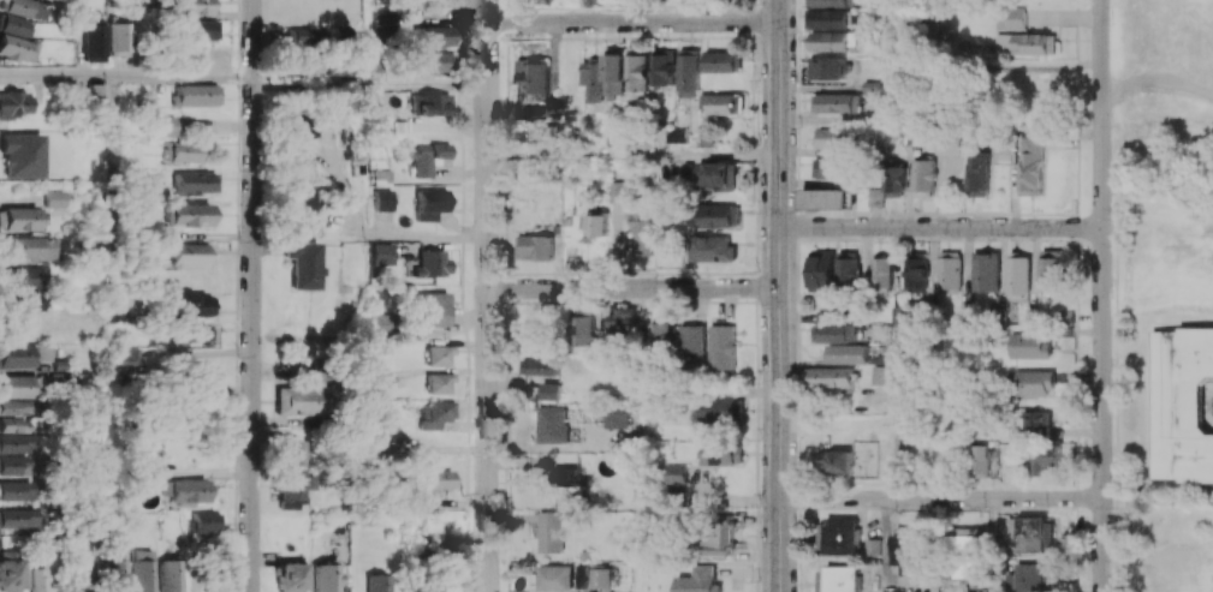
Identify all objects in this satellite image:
building: (590, 2)
building: (832, 2)
building: (200, 6)
building: (24, 8)
building: (830, 18)
building: (1009, 18)
road: (632, 22)
building: (14, 25)
building: (385, 26)
building: (200, 29)
building: (304, 35)
building: (430, 36)
building: (118, 38)
building: (839, 41)
road: (368, 42)
building: (94, 43)
building: (1023, 43)
building: (18, 48)
building: (433, 61)
building: (725, 61)
building: (304, 62)
building: (665, 66)
building: (833, 67)
building: (616, 71)
building: (640, 71)
building: (690, 72)
building: (536, 73)
road: (126, 76)
building: (594, 79)
road: (290, 85)
road: (346, 85)
road: (427, 85)
building: (197, 95)
building: (96, 101)
building: (838, 102)
building: (724, 103)
building: (13, 104)
building: (430, 104)
building: (167, 125)
building: (304, 126)
building: (543, 132)
building: (678, 133)
building: (708, 137)
building: (834, 138)
road: (778, 144)
building: (946, 145)
building: (184, 151)
building: (20, 155)
road: (632, 156)
building: (427, 159)
building: (1030, 166)
building: (828, 167)
building: (976, 174)
building: (719, 175)
building: (380, 177)
building: (921, 178)
building: (893, 181)
building: (196, 183)
road: (114, 187)
building: (616, 190)
building: (54, 198)
building: (825, 198)
building: (383, 199)
building: (430, 203)
building: (301, 205)
building: (191, 214)
building: (723, 215)
building: (18, 217)
building: (640, 223)
building: (594, 225)
road: (939, 228)
road: (382, 233)
building: (26, 247)
building: (535, 247)
building: (712, 249)
building: (191, 253)
building: (382, 253)
building: (432, 263)
building: (303, 264)
building: (1051, 265)
building: (848, 269)
building: (916, 269)
building: (823, 270)
building: (949, 270)
building: (986, 271)
building: (882, 274)
building: (1018, 275)
building: (23, 277)
road: (632, 288)
road: (254, 295)
road: (487, 295)
road: (1101, 295)
building: (24, 301)
building: (191, 305)
building: (434, 307)
building: (115, 312)
building: (827, 316)
building: (624, 321)
building: (385, 323)
building: (587, 329)
building: (191, 333)
building: (834, 333)
building: (662, 335)
building: (541, 342)
building: (694, 346)
building: (723, 346)
building: (1030, 346)
building: (43, 352)
building: (848, 353)
building: (14, 355)
building: (440, 355)
building: (127, 358)
building: (540, 366)
building: (200, 375)
building: (881, 375)
building: (380, 377)
building: (830, 377)
building: (1033, 382)
building: (440, 383)
building: (18, 385)
building: (549, 391)
building: (296, 401)
building: (1182, 405)
building: (13, 407)
building: (436, 413)
building: (613, 418)
building: (381, 419)
road: (898, 420)
building: (1037, 420)
building: (13, 424)
building: (552, 424)
road: (778, 439)
building: (14, 443)
building: (292, 452)
building: (721, 453)
building: (1047, 458)
building: (981, 460)
building: (837, 461)
building: (13, 465)
building: (677, 473)
building: (571, 479)
building: (436, 480)
building: (289, 488)
building: (184, 490)
building: (14, 491)
road: (939, 498)
building: (17, 519)
building: (203, 522)
building: (549, 531)
building: (1033, 533)
building: (718, 536)
building: (837, 536)
road: (884, 545)
building: (873, 546)
building: (906, 554)
building: (965, 556)
building: (79, 568)
building: (7, 570)
building: (142, 570)
building: (115, 573)
building: (168, 575)
building: (290, 576)
building: (327, 576)
building: (593, 576)
building: (552, 578)
building: (1033, 578)
building: (34, 579)
building: (837, 579)
building: (700, 580)
building: (377, 582)
building: (442, 584)

